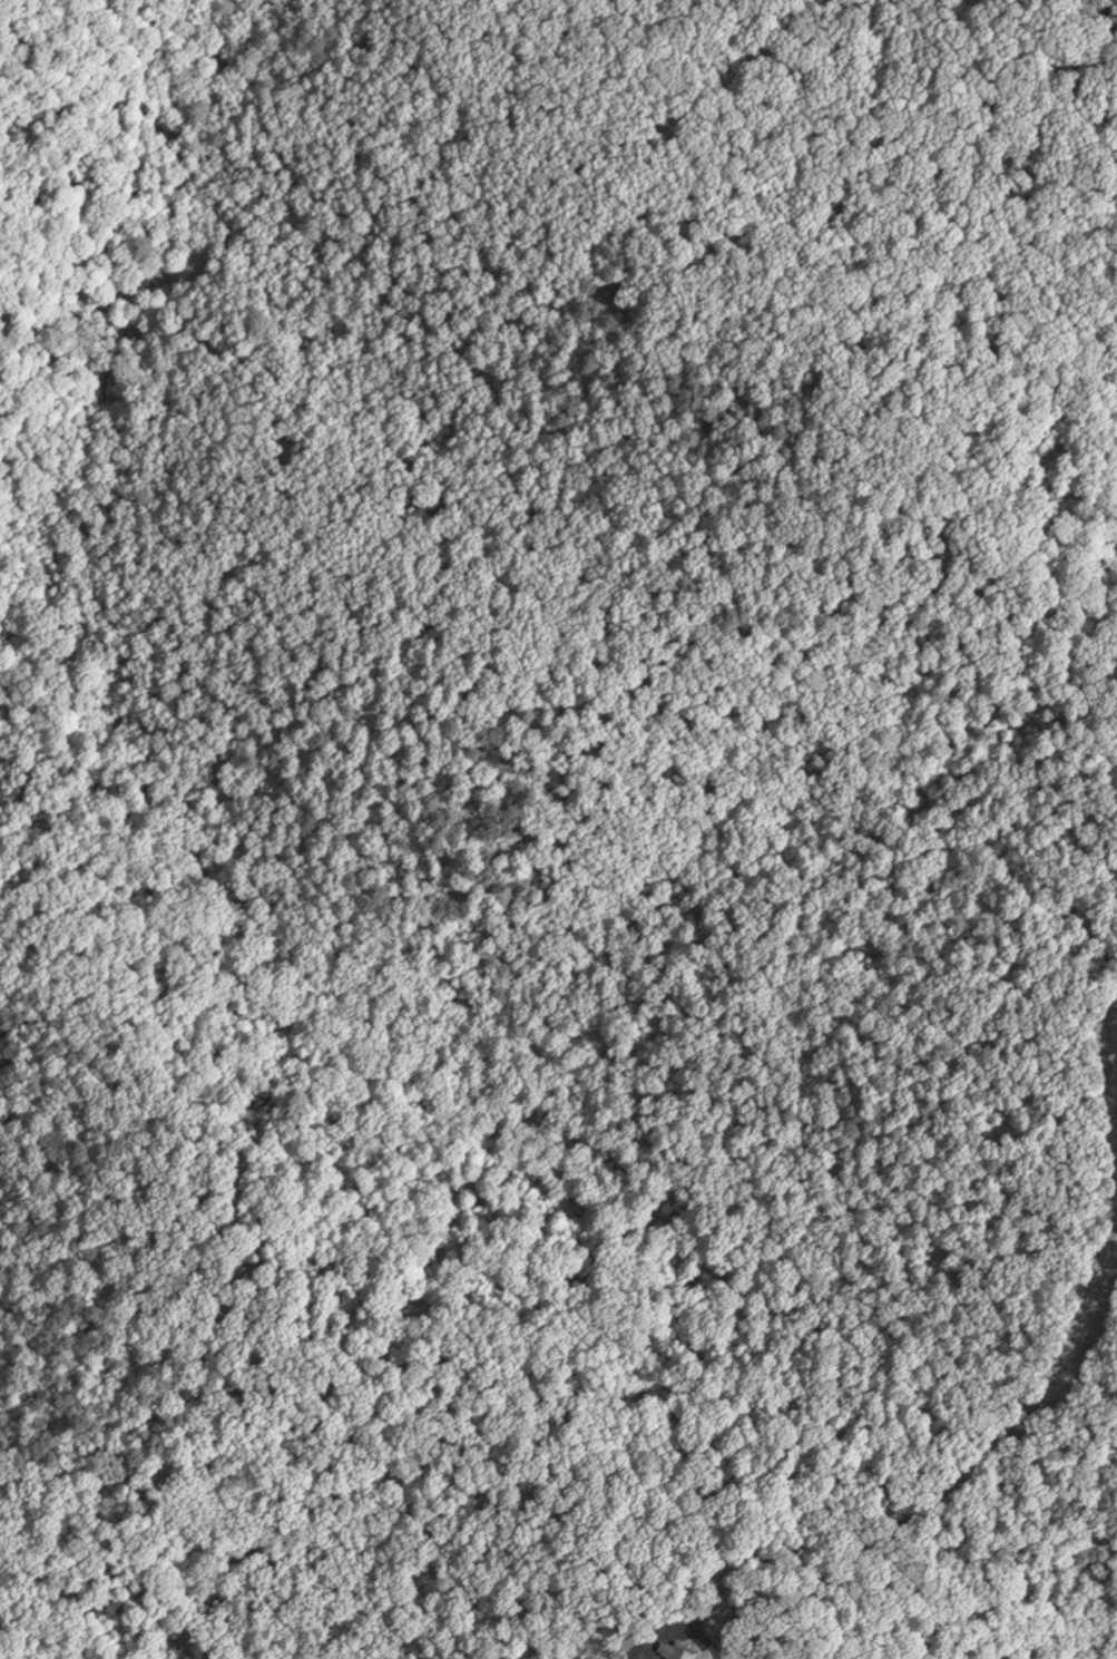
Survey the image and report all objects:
road: (1115, 0)
road: (1057, 753)
road: (667, 1584)

